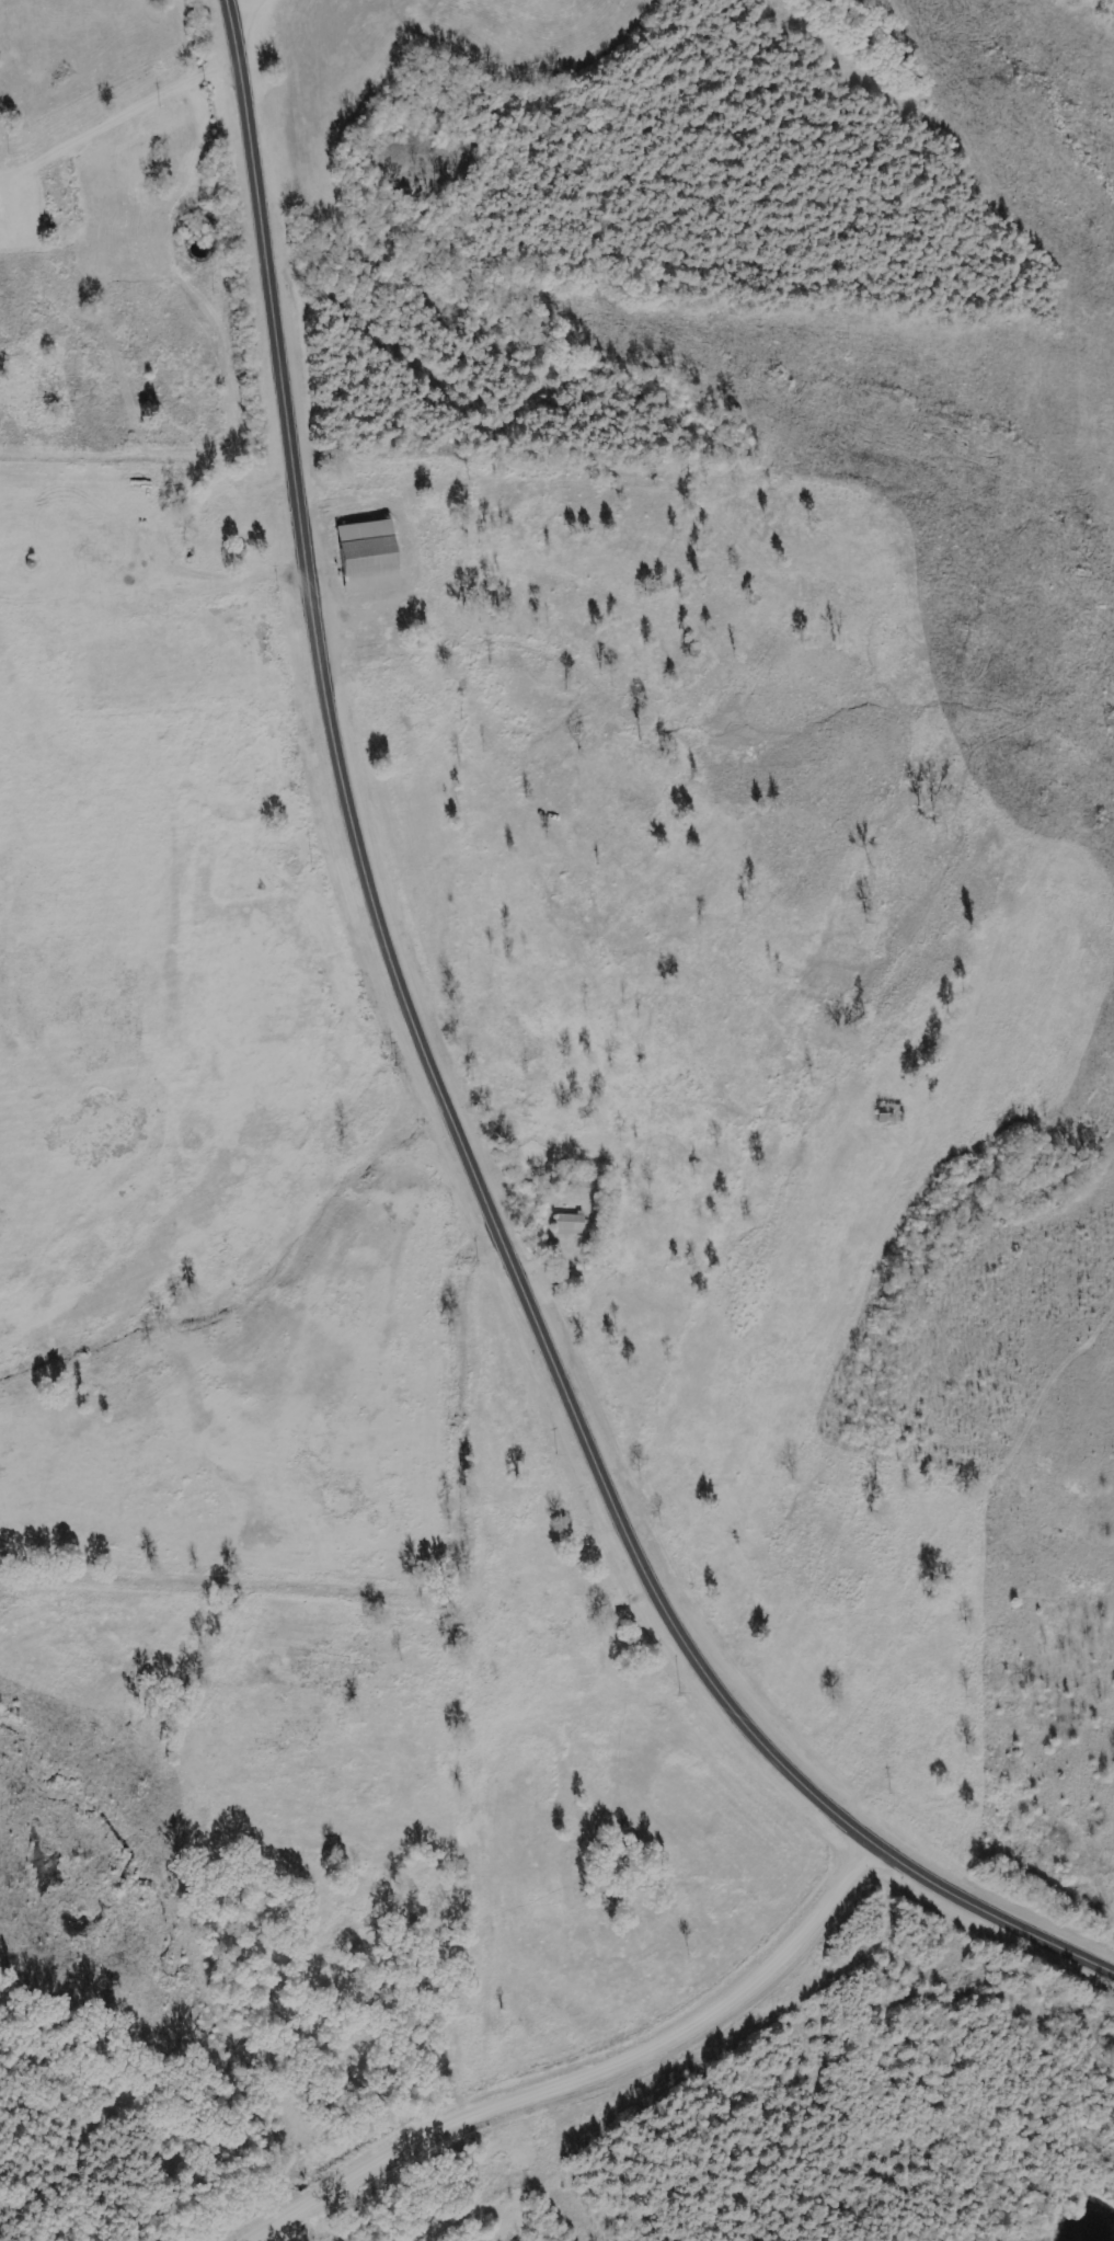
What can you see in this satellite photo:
road: (242, 5)
road: (122, 124)
building: (365, 557)
road: (398, 982)
building: (567, 1223)
road: (990, 1914)
road: (579, 2072)

